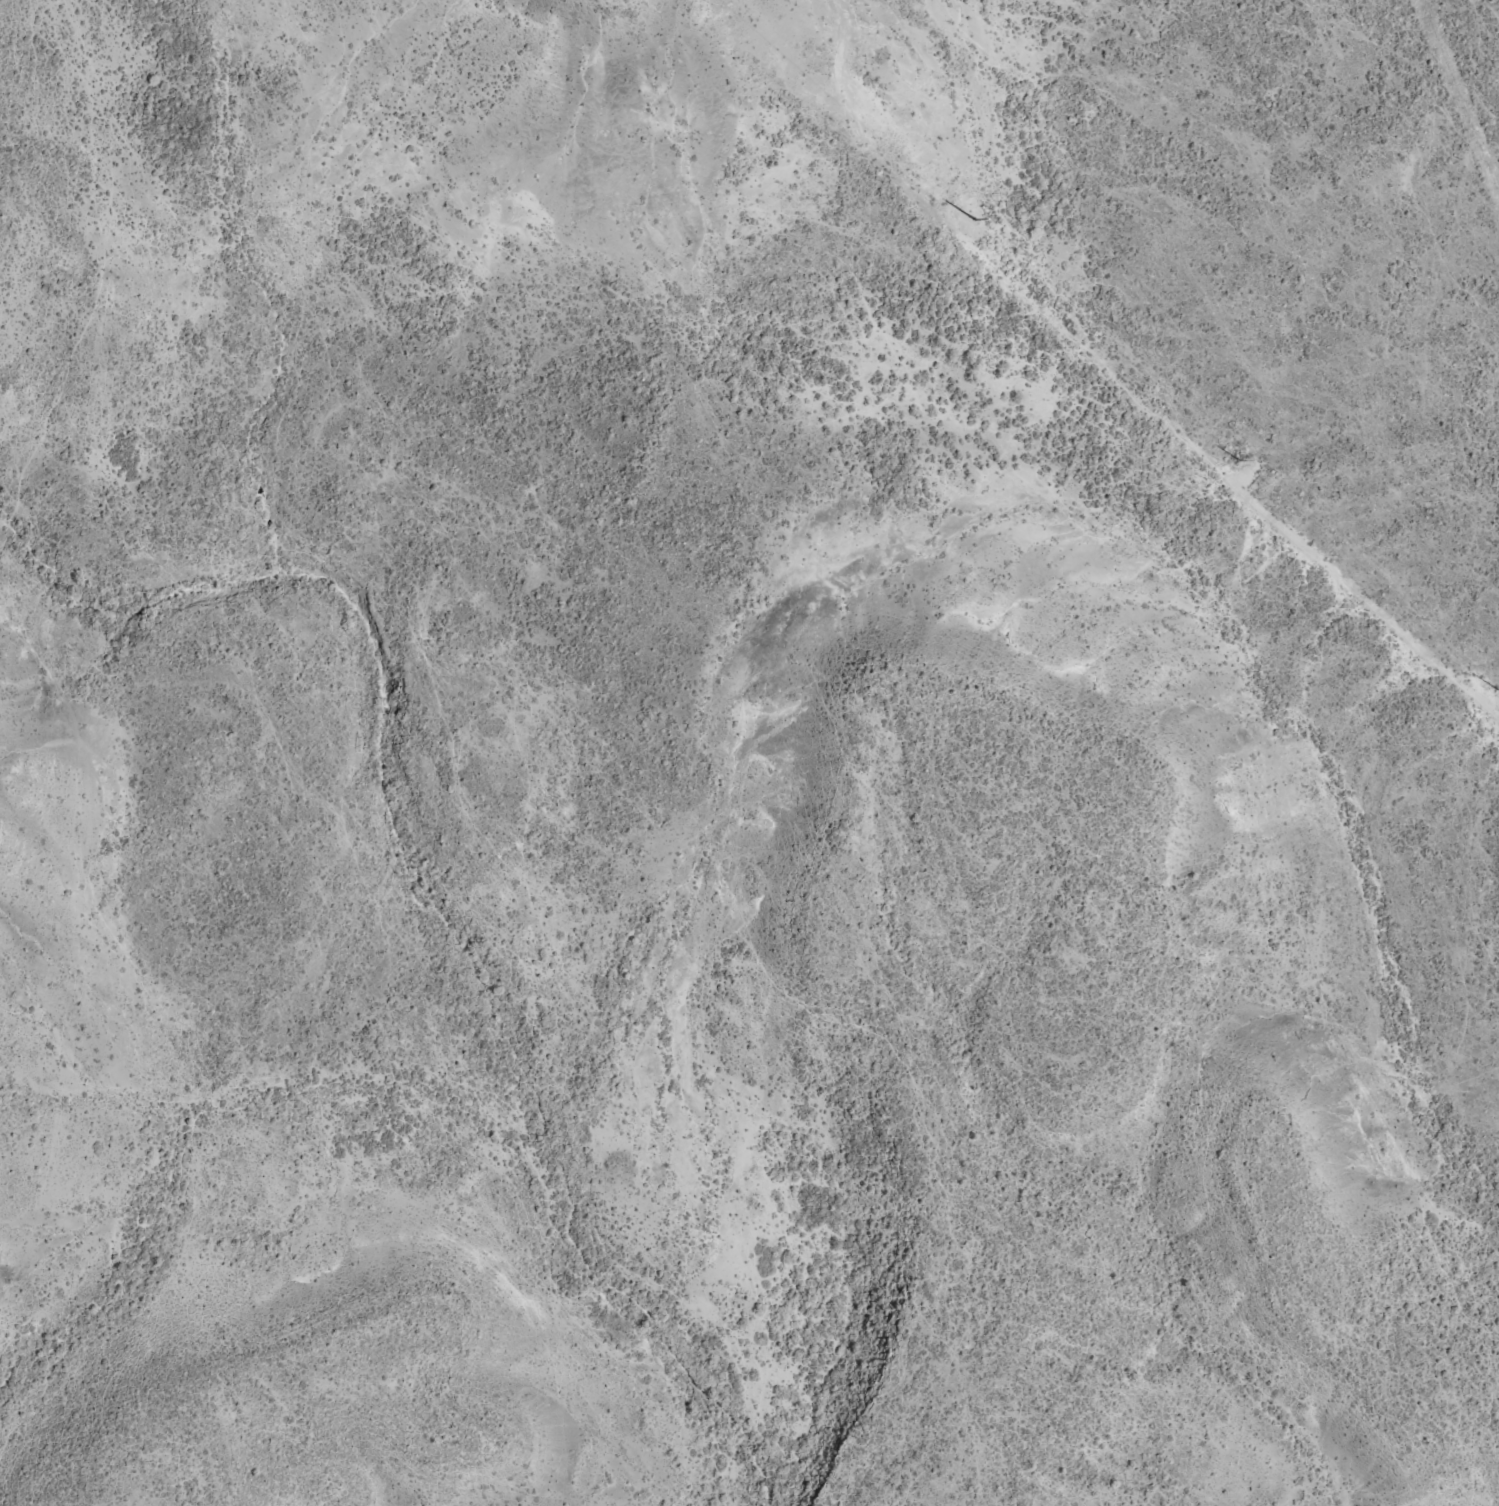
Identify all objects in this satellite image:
power tower: (963, 218)
power tower: (1238, 465)
power tower: (1496, 688)

